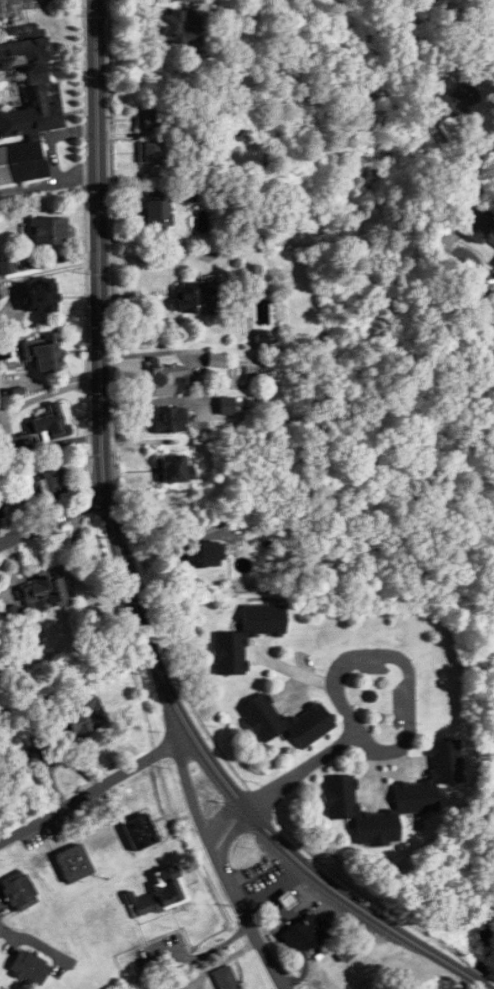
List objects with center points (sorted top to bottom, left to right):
building: (431, 0)
building: (176, 26)
building: (433, 76)
building: (462, 99)
building: (25, 102)
building: (149, 120)
road: (52, 136)
building: (155, 152)
road: (470, 157)
road: (50, 182)
building: (157, 213)
building: (481, 229)
building: (48, 230)
road: (439, 242)
road: (152, 259)
building: (6, 266)
building: (250, 272)
building: (40, 297)
building: (196, 297)
building: (43, 353)
building: (165, 378)
building: (169, 419)
building: (51, 422)
building: (174, 468)
building: (50, 484)
road: (54, 520)
building: (195, 554)
road: (126, 569)
building: (46, 593)
building: (11, 616)
building: (245, 638)
road: (410, 683)
building: (261, 715)
building: (81, 718)
road: (405, 762)
road: (303, 769)
road: (186, 773)
road: (371, 778)
road: (95, 788)
building: (415, 797)
road: (222, 815)
building: (139, 832)
road: (230, 836)
building: (73, 863)
building: (19, 891)
building: (162, 893)
building: (286, 900)
road: (255, 928)
building: (303, 933)
road: (29, 941)
building: (347, 950)
building: (29, 967)

